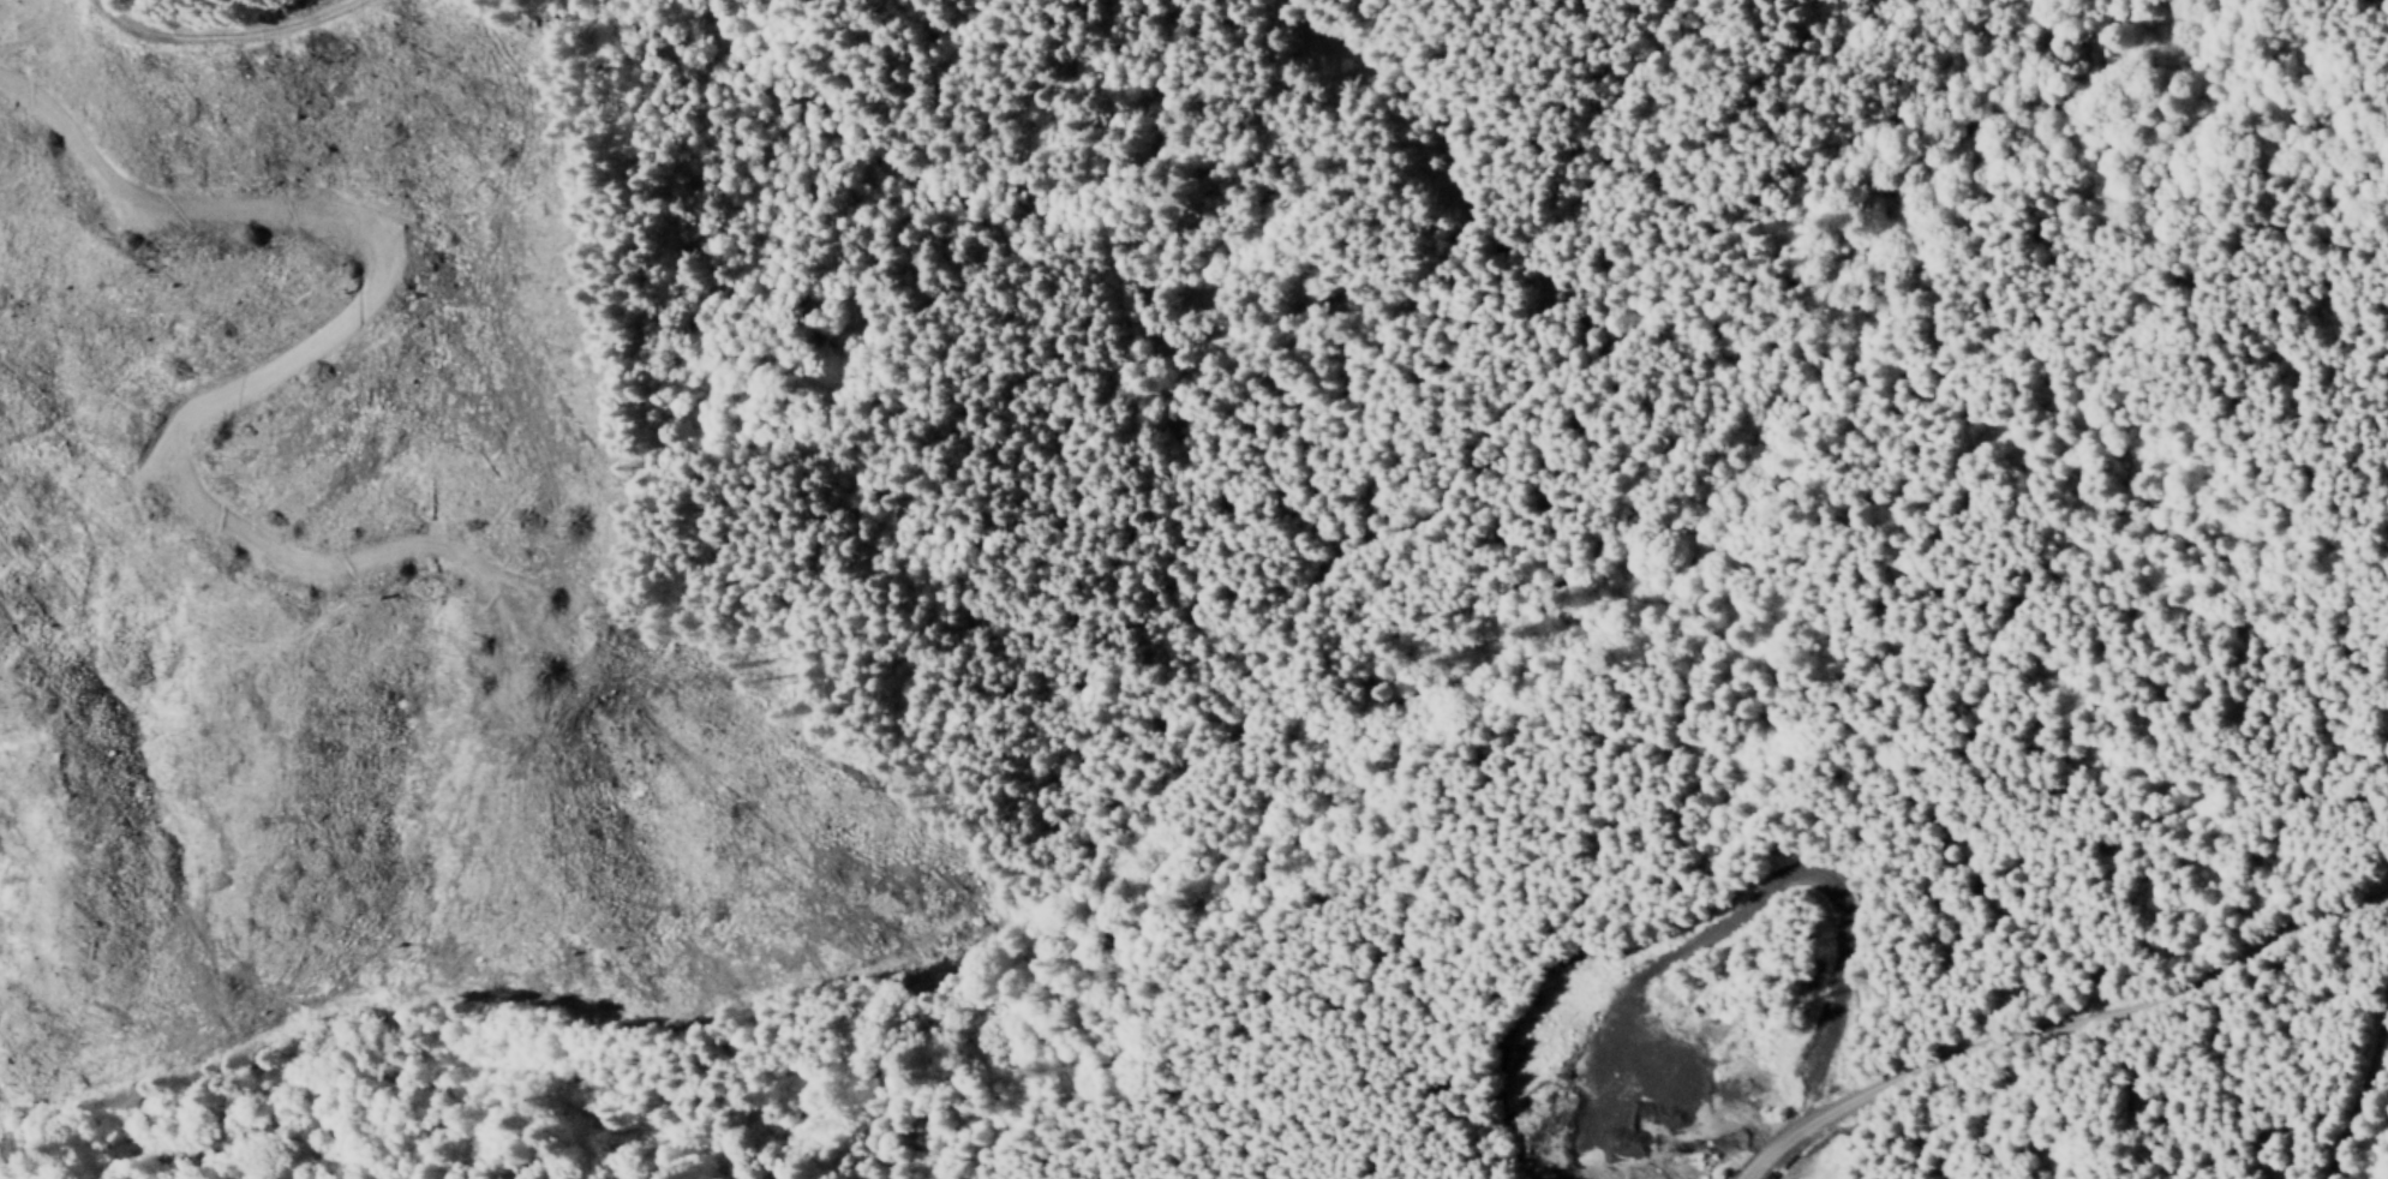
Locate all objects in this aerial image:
road: (276, 58)
road: (1172, 348)
road: (1252, 708)
road: (2059, 1030)

